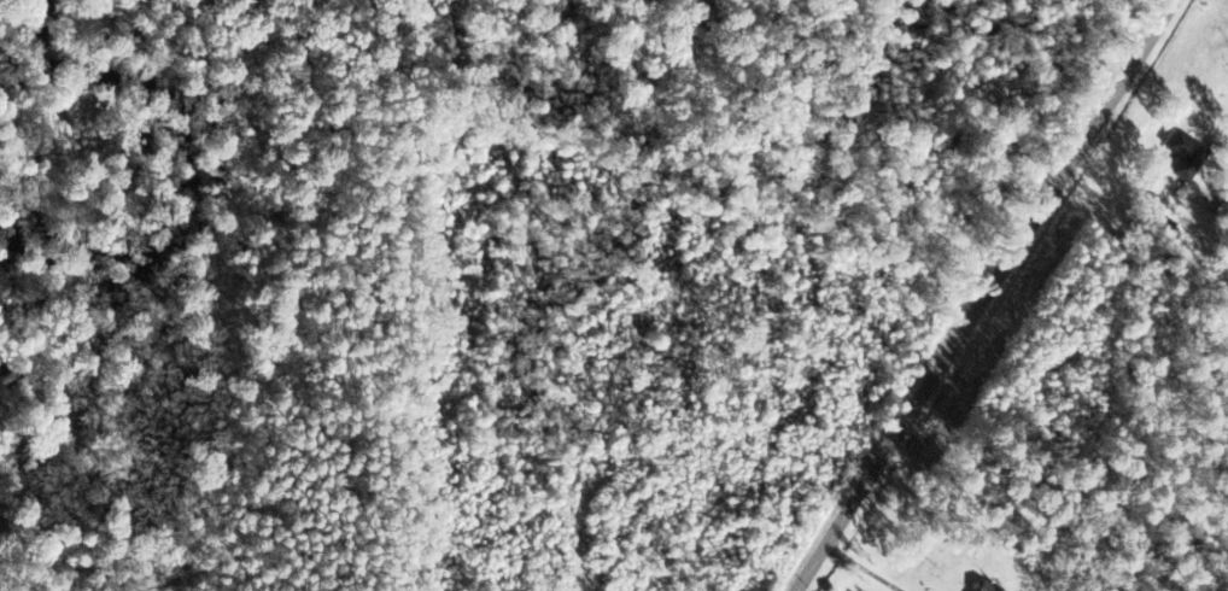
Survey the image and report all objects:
building: (1183, 156)
road: (806, 204)
road: (1037, 298)
building: (980, 587)

